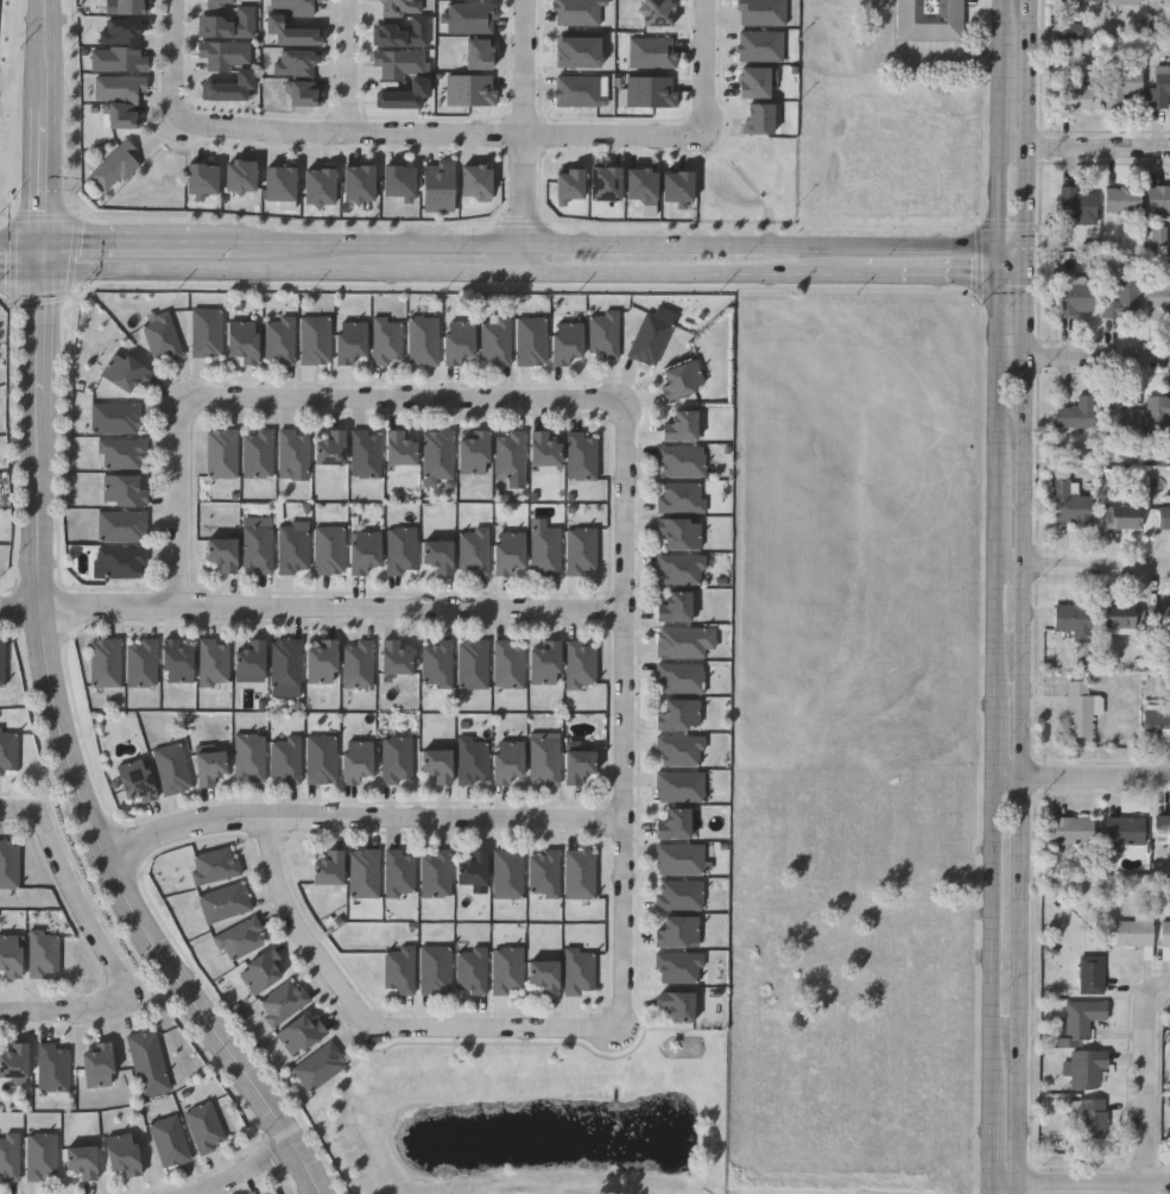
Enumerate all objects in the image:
building: (1160, 0)
building: (216, 1)
building: (1083, 2)
building: (1125, 2)
building: (296, 6)
building: (131, 7)
building: (580, 12)
building: (764, 12)
building: (658, 13)
building: (470, 18)
building: (931, 19)
building: (228, 23)
building: (401, 24)
road: (1005, 26)
building: (290, 31)
building: (1073, 31)
building: (761, 46)
building: (121, 48)
building: (581, 52)
building: (653, 53)
building: (481, 55)
road: (177, 59)
building: (295, 62)
road: (907, 63)
building: (1074, 67)
road: (349, 68)
road: (704, 69)
building: (244, 75)
building: (758, 82)
building: (417, 83)
building: (121, 87)
building: (1120, 88)
building: (472, 90)
building: (582, 91)
building: (303, 93)
building: (652, 93)
building: (1159, 93)
road: (1004, 100)
building: (1080, 100)
building: (122, 115)
building: (761, 119)
road: (43, 121)
road: (1027, 125)
road: (439, 135)
road: (524, 138)
road: (1086, 147)
building: (116, 165)
building: (242, 177)
building: (204, 182)
building: (400, 183)
building: (478, 183)
building: (360, 184)
building: (607, 184)
building: (283, 187)
building: (321, 187)
building: (570, 187)
building: (643, 187)
building: (679, 187)
building: (441, 188)
road: (1004, 198)
building: (1122, 201)
building: (1159, 202)
building: (1076, 208)
building: (1159, 235)
road: (20, 242)
traffic signals: (42, 242)
road: (120, 244)
road: (220, 245)
road: (622, 247)
traffic signals: (1004, 252)
road: (1014, 252)
traffic signals: (1026, 252)
road: (42, 257)
road: (1004, 265)
road: (1025, 265)
road: (21, 272)
traffic signals: (43, 272)
road: (451, 274)
road: (875, 278)
road: (947, 278)
traffic signals: (1004, 278)
road: (1014, 278)
traffic signals: (1025, 278)
building: (1159, 297)
building: (1079, 298)
building: (1122, 299)
road: (1024, 317)
building: (207, 331)
building: (602, 334)
building: (162, 336)
building: (278, 339)
building: (649, 339)
building: (242, 340)
building: (315, 340)
building: (386, 340)
building: (422, 340)
building: (456, 340)
building: (494, 340)
building: (530, 340)
building: (349, 341)
building: (564, 341)
road: (1011, 356)
road: (1096, 356)
building: (124, 371)
building: (681, 379)
road: (1000, 379)
road: (406, 400)
building: (1158, 415)
building: (1076, 416)
building: (115, 417)
building: (1118, 417)
building: (679, 425)
building: (330, 448)
building: (398, 448)
building: (543, 448)
building: (124, 453)
building: (257, 453)
building: (365, 453)
building: (473, 453)
building: (220, 454)
building: (437, 454)
building: (510, 454)
building: (293, 455)
building: (581, 456)
building: (681, 461)
building: (122, 489)
building: (681, 498)
building: (1166, 500)
road: (182, 504)
building: (1070, 506)
building: (1164, 519)
building: (1124, 520)
road: (999, 524)
building: (121, 526)
building: (678, 532)
building: (257, 548)
building: (292, 549)
building: (328, 550)
building: (400, 550)
building: (581, 550)
building: (363, 551)
building: (473, 551)
building: (507, 551)
building: (545, 551)
building: (221, 552)
building: (438, 556)
building: (120, 563)
road: (1084, 566)
building: (679, 569)
road: (21, 605)
building: (673, 606)
road: (333, 608)
building: (1120, 621)
building: (1074, 623)
building: (1159, 623)
road: (998, 631)
building: (679, 642)
building: (251, 657)
building: (394, 658)
building: (176, 661)
building: (1, 662)
building: (213, 662)
building: (321, 662)
building: (436, 662)
building: (543, 662)
building: (105, 663)
building: (141, 663)
building: (284, 663)
building: (578, 663)
building: (356, 664)
building: (473, 664)
building: (507, 665)
building: (679, 677)
building: (1081, 710)
building: (677, 713)
road: (624, 716)
building: (1156, 726)
road: (997, 735)
building: (679, 750)
building: (7, 751)
building: (248, 756)
building: (284, 759)
building: (321, 759)
building: (355, 759)
building: (396, 759)
building: (470, 759)
building: (506, 760)
building: (543, 760)
road: (72, 764)
building: (436, 764)
building: (576, 765)
building: (208, 767)
building: (171, 769)
road: (1022, 770)
road: (1083, 776)
building: (134, 779)
building: (679, 786)
road: (18, 808)
road: (362, 820)
building: (671, 822)
building: (1071, 833)
building: (1125, 833)
building: (1162, 838)
building: (679, 859)
building: (8, 864)
building: (215, 865)
building: (472, 867)
building: (328, 868)
building: (398, 871)
building: (362, 873)
building: (435, 873)
building: (506, 873)
building: (543, 873)
building: (577, 874)
building: (678, 895)
road: (77, 902)
building: (224, 902)
building: (676, 930)
road: (992, 934)
building: (1134, 935)
building: (1165, 935)
building: (240, 940)
building: (43, 954)
building: (10, 955)
building: (677, 967)
building: (398, 969)
building: (435, 969)
building: (470, 969)
building: (260, 971)
building: (506, 971)
building: (577, 972)
building: (543, 975)
building: (1092, 977)
building: (282, 1002)
building: (676, 1005)
road: (68, 1012)
building: (1082, 1021)
road: (374, 1028)
building: (299, 1034)
building: (145, 1055)
building: (13, 1061)
building: (96, 1066)
building: (318, 1067)
building: (52, 1068)
building: (1087, 1069)
road: (1149, 1079)
building: (1092, 1122)
building: (204, 1127)
road: (987, 1137)
building: (169, 1141)
building: (121, 1154)
building: (10, 1156)
building: (40, 1156)
building: (81, 1161)
road: (248, 1173)
road: (1000, 1182)
road: (1092, 1182)
road: (986, 1188)
road: (1016, 1188)
road: (1147, 1188)
building: (274, 1193)
building: (278, 1193)

